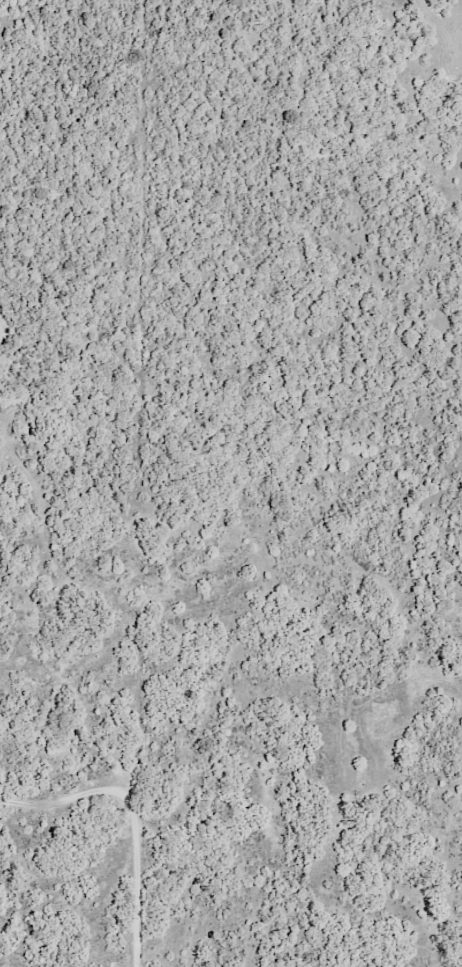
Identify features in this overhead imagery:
road: (135, 815)

